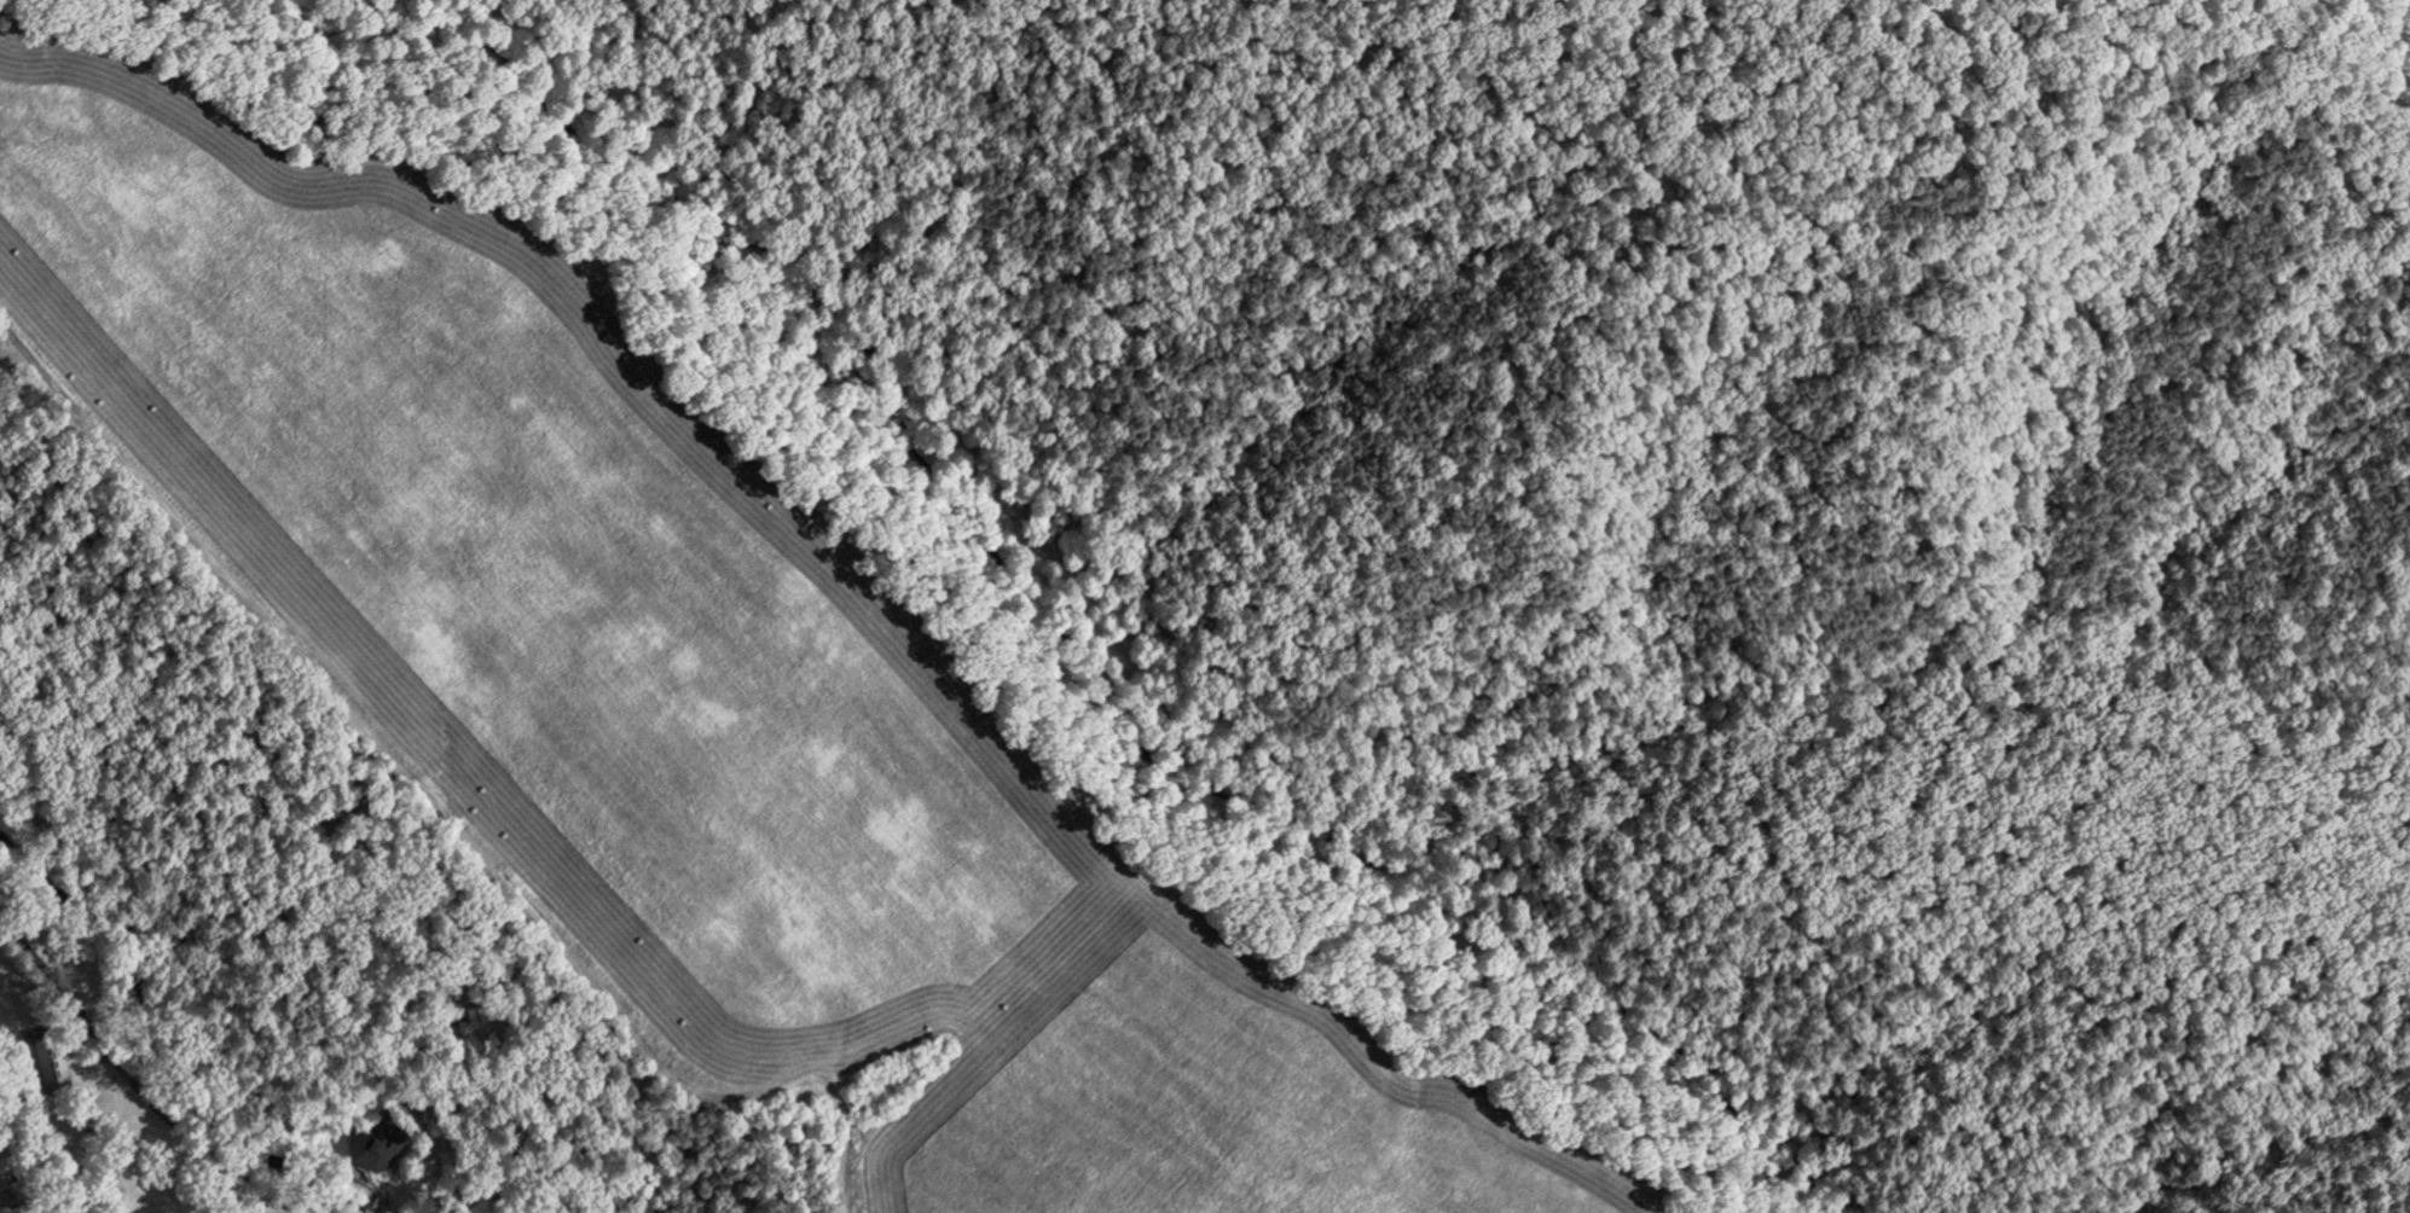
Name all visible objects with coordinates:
road: (589, 58)
road: (816, 385)
park: (268, 907)
road: (140, 1079)
building: (372, 1141)
road: (373, 1203)

